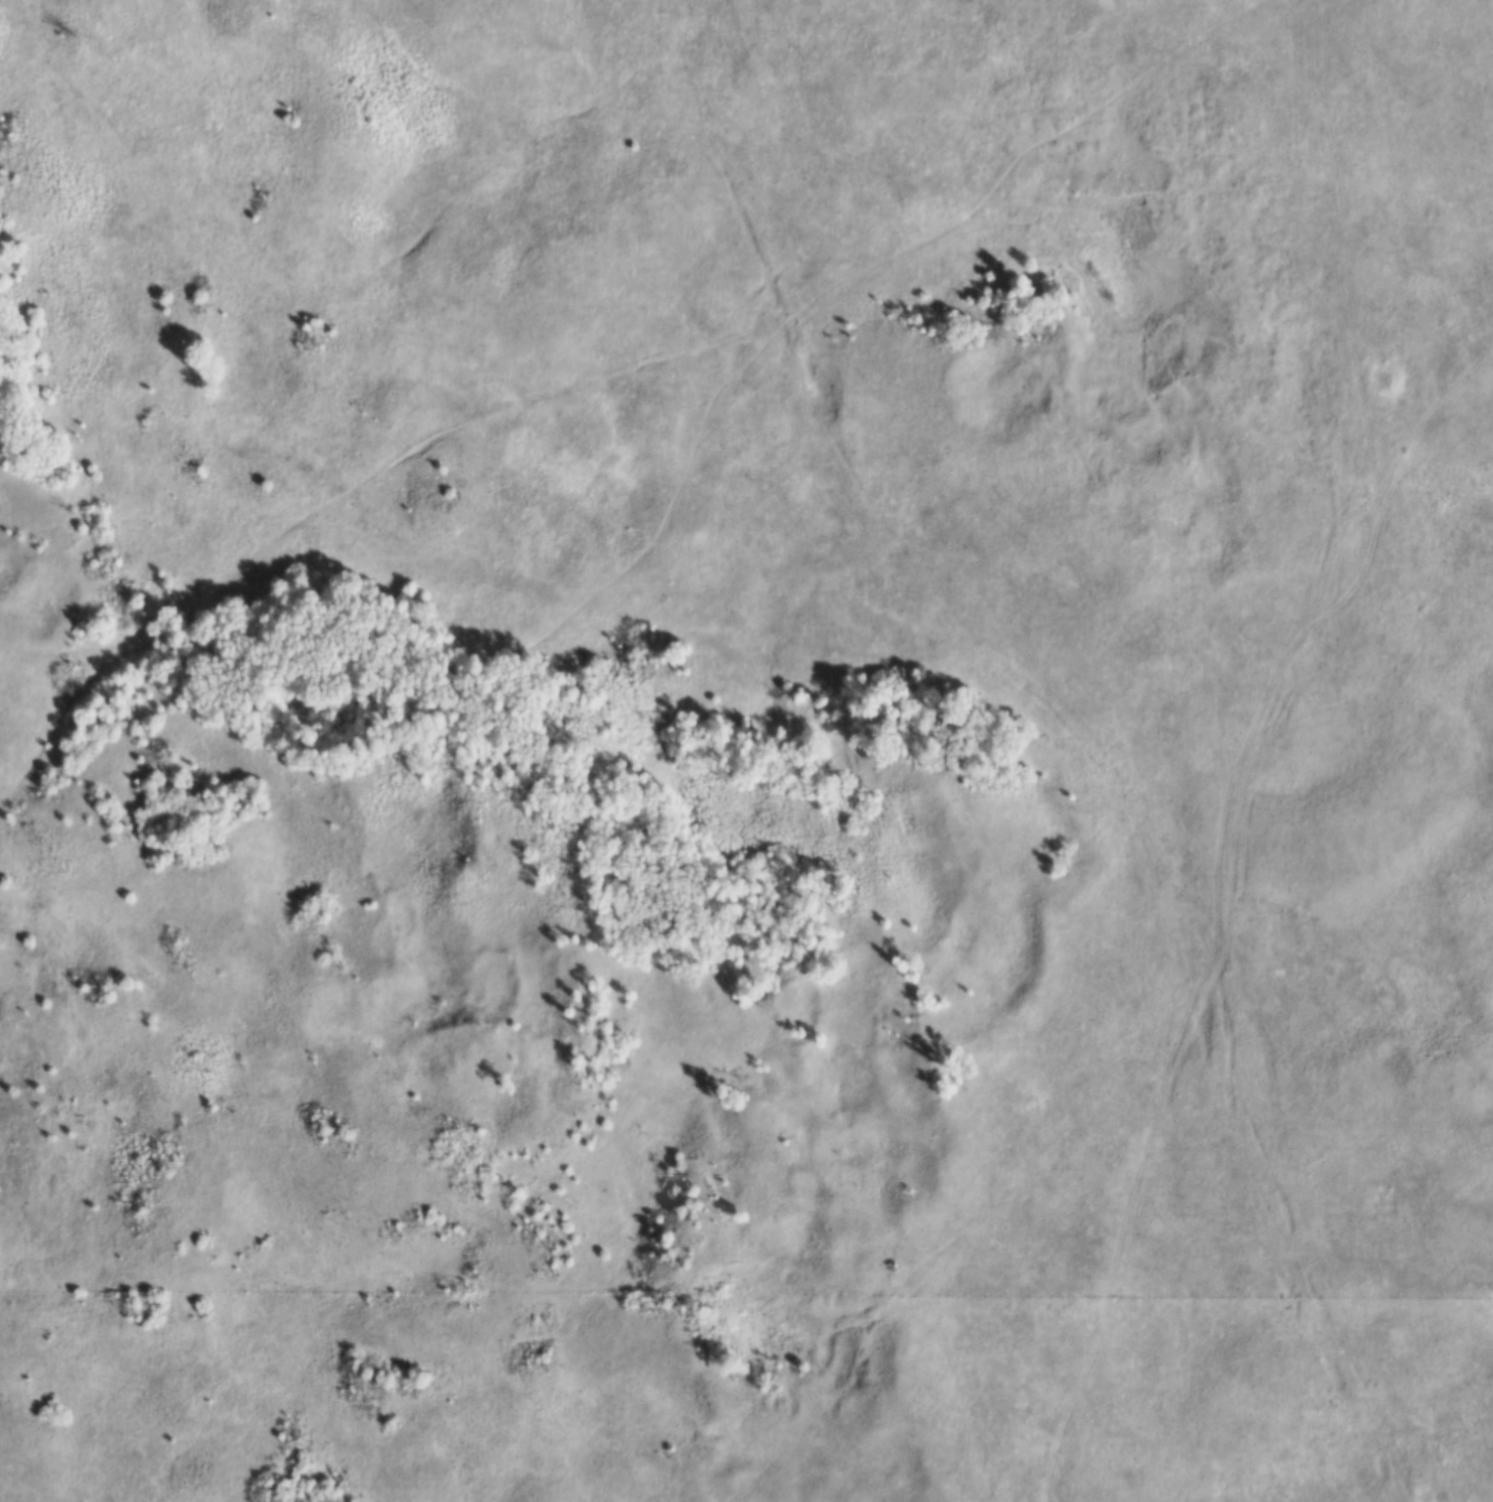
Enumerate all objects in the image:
road: (666, 510)
road: (82, 650)

